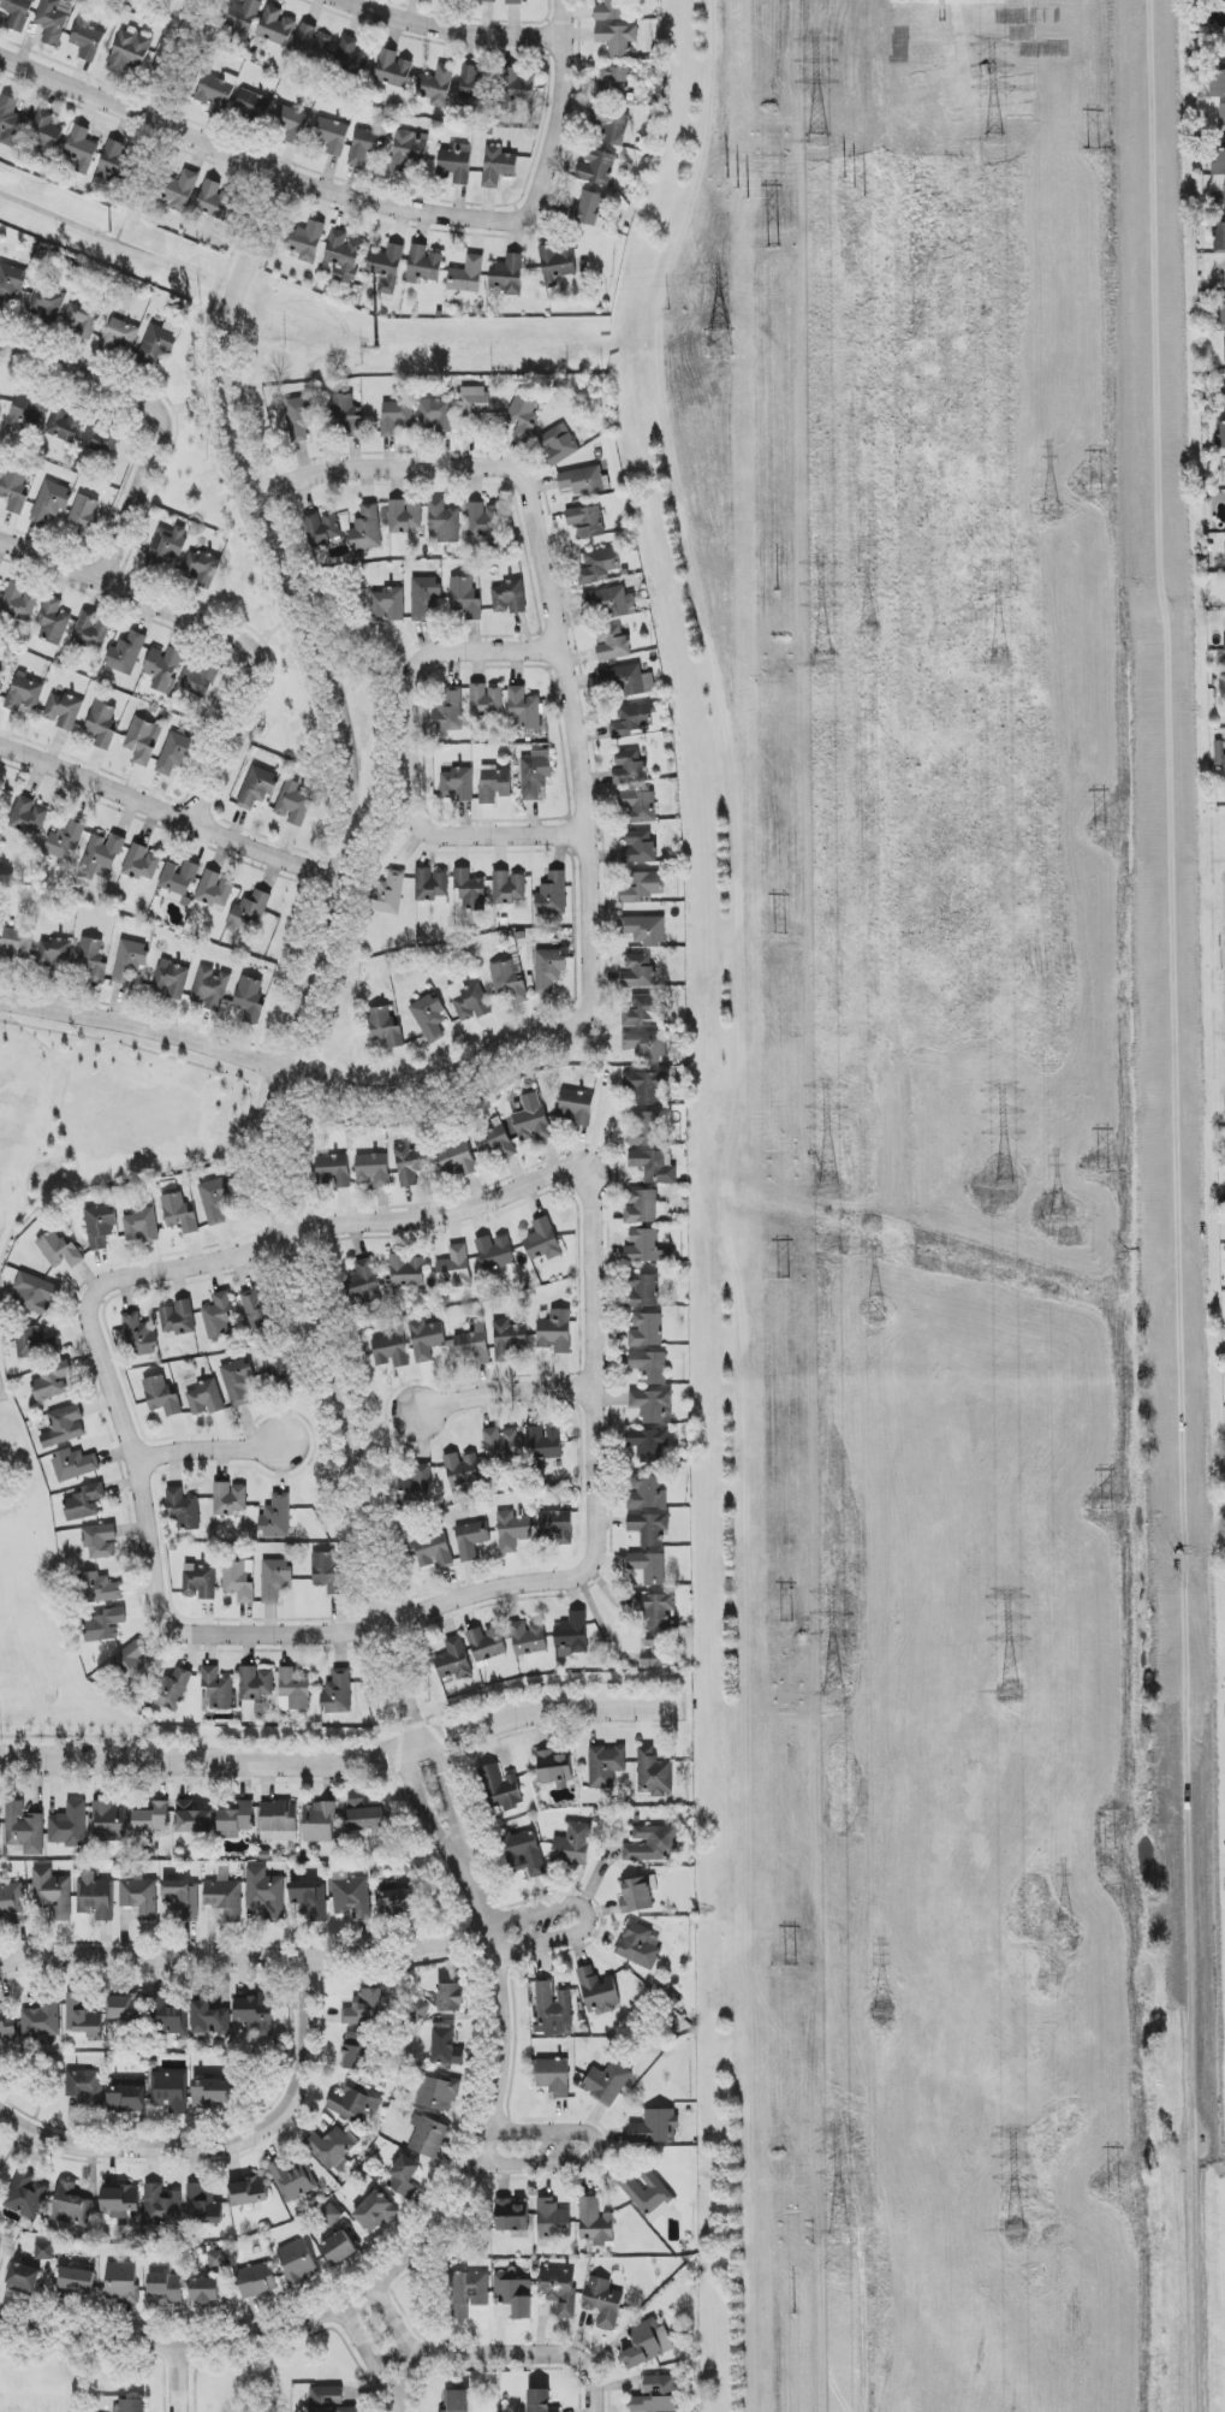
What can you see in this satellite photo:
building: (1224, 0)
building: (488, 1)
building: (515, 2)
building: (612, 10)
building: (17, 13)
building: (240, 18)
building: (53, 19)
building: (275, 26)
road: (446, 32)
building: (87, 38)
building: (618, 40)
building: (310, 45)
building: (129, 52)
building: (351, 57)
road: (171, 59)
building: (393, 70)
building: (1218, 83)
building: (612, 84)
building: (438, 87)
building: (476, 87)
building: (517, 87)
building: (214, 93)
building: (252, 106)
road: (558, 108)
building: (1221, 114)
building: (11, 122)
building: (292, 124)
building: (44, 135)
building: (331, 136)
power tower: (994, 141)
power tower: (817, 143)
building: (365, 147)
building: (81, 149)
building: (408, 150)
power tower: (1093, 154)
building: (1219, 161)
building: (117, 162)
building: (456, 162)
building: (498, 166)
building: (596, 168)
road: (257, 170)
building: (1224, 184)
road: (141, 186)
building: (178, 190)
building: (215, 201)
building: (585, 209)
building: (1219, 238)
building: (305, 241)
road: (117, 244)
power tower: (774, 247)
building: (344, 255)
building: (557, 263)
building: (424, 265)
building: (386, 268)
building: (468, 275)
building: (509, 275)
building: (11, 284)
building: (46, 306)
building: (1224, 314)
building: (82, 320)
building: (120, 336)
building: (161, 343)
building: (1224, 348)
building: (0, 401)
road: (189, 404)
building: (474, 409)
building: (28, 413)
road: (155, 413)
building: (346, 415)
building: (435, 415)
building: (301, 417)
building: (396, 417)
building: (523, 417)
building: (65, 426)
building: (1220, 437)
building: (102, 438)
building: (559, 444)
road: (358, 466)
building: (1224, 467)
building: (582, 481)
building: (14, 490)
power tower: (1098, 490)
building: (50, 502)
building: (83, 514)
power tower: (1049, 515)
building: (405, 517)
building: (483, 520)
building: (587, 522)
building: (444, 523)
building: (322, 528)
building: (367, 529)
building: (167, 547)
building: (599, 565)
building: (201, 569)
power tower: (780, 592)
building: (424, 597)
building: (465, 598)
building: (510, 598)
building: (19, 601)
building: (611, 601)
building: (389, 604)
building: (54, 621)
road: (215, 626)
road: (331, 630)
building: (91, 632)
power tower: (867, 634)
building: (612, 644)
building: (1224, 644)
road: (447, 653)
building: (126, 654)
power tower: (823, 663)
power tower: (1000, 663)
building: (0, 668)
building: (163, 668)
building: (198, 677)
building: (626, 680)
building: (24, 693)
building: (486, 700)
road: (571, 706)
building: (523, 710)
building: (64, 711)
building: (450, 713)
building: (631, 721)
building: (102, 724)
building: (141, 741)
building: (176, 753)
building: (1224, 760)
building: (629, 768)
building: (535, 775)
building: (458, 784)
building: (494, 784)
building: (256, 788)
building: (295, 804)
building: (640, 806)
building: (28, 817)
road: (171, 817)
power tower: (1099, 831)
road: (458, 836)
building: (67, 840)
road: (375, 845)
building: (641, 848)
building: (101, 855)
building: (142, 864)
building: (179, 881)
building: (432, 887)
building: (643, 887)
building: (509, 888)
building: (215, 890)
building: (470, 890)
building: (389, 894)
building: (553, 895)
road: (1217, 901)
building: (250, 913)
building: (644, 930)
power tower: (781, 935)
building: (16, 946)
park: (1219, 950)
building: (54, 955)
road: (321, 959)
building: (91, 960)
building: (130, 961)
building: (548, 970)
building: (638, 972)
building: (171, 979)
building: (510, 980)
building: (210, 989)
building: (250, 1000)
building: (469, 1001)
building: (644, 1009)
building: (429, 1018)
building: (385, 1027)
road: (1218, 1037)
building: (646, 1044)
road: (304, 1079)
building: (646, 1086)
building: (576, 1108)
park: (102, 1120)
building: (533, 1120)
road: (596, 1126)
building: (646, 1128)
building: (494, 1144)
building: (458, 1158)
building: (411, 1164)
building: (655, 1166)
building: (334, 1171)
building: (373, 1171)
power tower: (1102, 1172)
power tower: (1004, 1186)
power tower: (826, 1189)
building: (215, 1201)
road: (852, 1205)
building: (642, 1207)
building: (179, 1214)
power tower: (1058, 1221)
building: (100, 1226)
building: (142, 1226)
building: (542, 1240)
building: (646, 1246)
building: (59, 1251)
building: (494, 1252)
building: (454, 1267)
building: (405, 1272)
building: (363, 1281)
power tower: (785, 1281)
building: (644, 1291)
building: (35, 1294)
building: (256, 1312)
power tower: (876, 1314)
building: (218, 1315)
building: (179, 1318)
road: (590, 1326)
building: (647, 1331)
building: (555, 1332)
building: (139, 1335)
building: (426, 1340)
building: (509, 1340)
building: (36, 1343)
building: (474, 1344)
building: (391, 1351)
building: (284, 1367)
building: (650, 1367)
building: (238, 1381)
building: (52, 1382)
road: (503, 1395)
building: (162, 1397)
building: (206, 1398)
building: (653, 1406)
building: (64, 1427)
building: (501, 1444)
building: (649, 1445)
building: (543, 1446)
road: (212, 1451)
building: (73, 1465)
road: (143, 1470)
building: (463, 1470)
building: (416, 1486)
building: (648, 1494)
building: (230, 1499)
building: (85, 1503)
building: (183, 1510)
power tower: (1106, 1513)
building: (276, 1517)
building: (555, 1528)
building: (649, 1528)
building: (512, 1530)
building: (471, 1540)
building: (101, 1541)
building: (433, 1549)
building: (649, 1567)
building: (327, 1574)
building: (275, 1580)
building: (239, 1581)
building: (200, 1582)
building: (100, 1589)
building: (658, 1608)
building: (115, 1617)
power tower: (786, 1622)
building: (572, 1635)
building: (529, 1638)
building: (486, 1644)
building: (658, 1651)
building: (453, 1660)
building: (136, 1661)
building: (257, 1685)
building: (218, 1689)
building: (171, 1690)
building: (293, 1690)
building: (338, 1693)
power tower: (1010, 1693)
power tower: (831, 1696)
road: (343, 1759)
building: (606, 1766)
building: (554, 1770)
building: (654, 1773)
building: (501, 1789)
road: (450, 1802)
road: (426, 1814)
building: (364, 1817)
building: (153, 1818)
building: (194, 1819)
building: (111, 1821)
building: (236, 1821)
building: (279, 1821)
building: (317, 1823)
building: (0, 1825)
building: (69, 1826)
building: (24, 1829)
building: (650, 1844)
building: (573, 1845)
power tower: (1111, 1853)
building: (524, 1854)
building: (264, 1892)
building: (52, 1894)
building: (636, 1895)
building: (95, 1896)
building: (139, 1897)
building: (225, 1897)
building: (182, 1898)
building: (351, 1898)
building: (310, 1900)
building: (12, 1902)
building: (397, 1902)
road: (585, 1916)
power tower: (1063, 1933)
building: (640, 1945)
road: (246, 1964)
power tower: (791, 1966)
building: (597, 1991)
building: (450, 1997)
building: (365, 2009)
building: (552, 2009)
building: (420, 2010)
building: (150, 2011)
building: (256, 2014)
power tower: (882, 2015)
building: (83, 2016)
building: (210, 2019)
building: (42, 2020)
building: (7, 2031)
building: (446, 2047)
building: (357, 2051)
building: (553, 2076)
building: (607, 2082)
building: (87, 2087)
building: (170, 2092)
building: (210, 2093)
building: (438, 2094)
building: (126, 2098)
building: (353, 2103)
building: (656, 2127)
building: (428, 2137)
building: (335, 2149)
road: (225, 2153)
road: (597, 2155)
building: (404, 2177)
building: (292, 2180)
building: (249, 2192)
power tower: (1112, 2192)
building: (648, 2194)
building: (26, 2195)
building: (120, 2201)
building: (71, 2206)
building: (162, 2206)
building: (203, 2206)
building: (375, 2211)
building: (331, 2216)
building: (511, 2216)
building: (553, 2220)
building: (596, 2224)
power tower: (1015, 2234)
power tower: (837, 2236)
building: (339, 2248)
building: (43, 2251)
building: (216, 2259)
road: (405, 2262)
building: (297, 2263)
building: (23, 2280)
building: (77, 2281)
building: (257, 2281)
building: (121, 2282)
building: (167, 2287)
building: (559, 2289)
building: (204, 2290)
building: (469, 2293)
building: (513, 2294)
building: (603, 2303)
power tower: (795, 2311)
road: (392, 2323)
road: (365, 2342)
building: (647, 2343)
road: (516, 2357)
road: (172, 2377)
road: (399, 2388)
building: (656, 2395)
building: (327, 2400)
building: (457, 2401)
building: (540, 2401)
building: (132, 2405)

